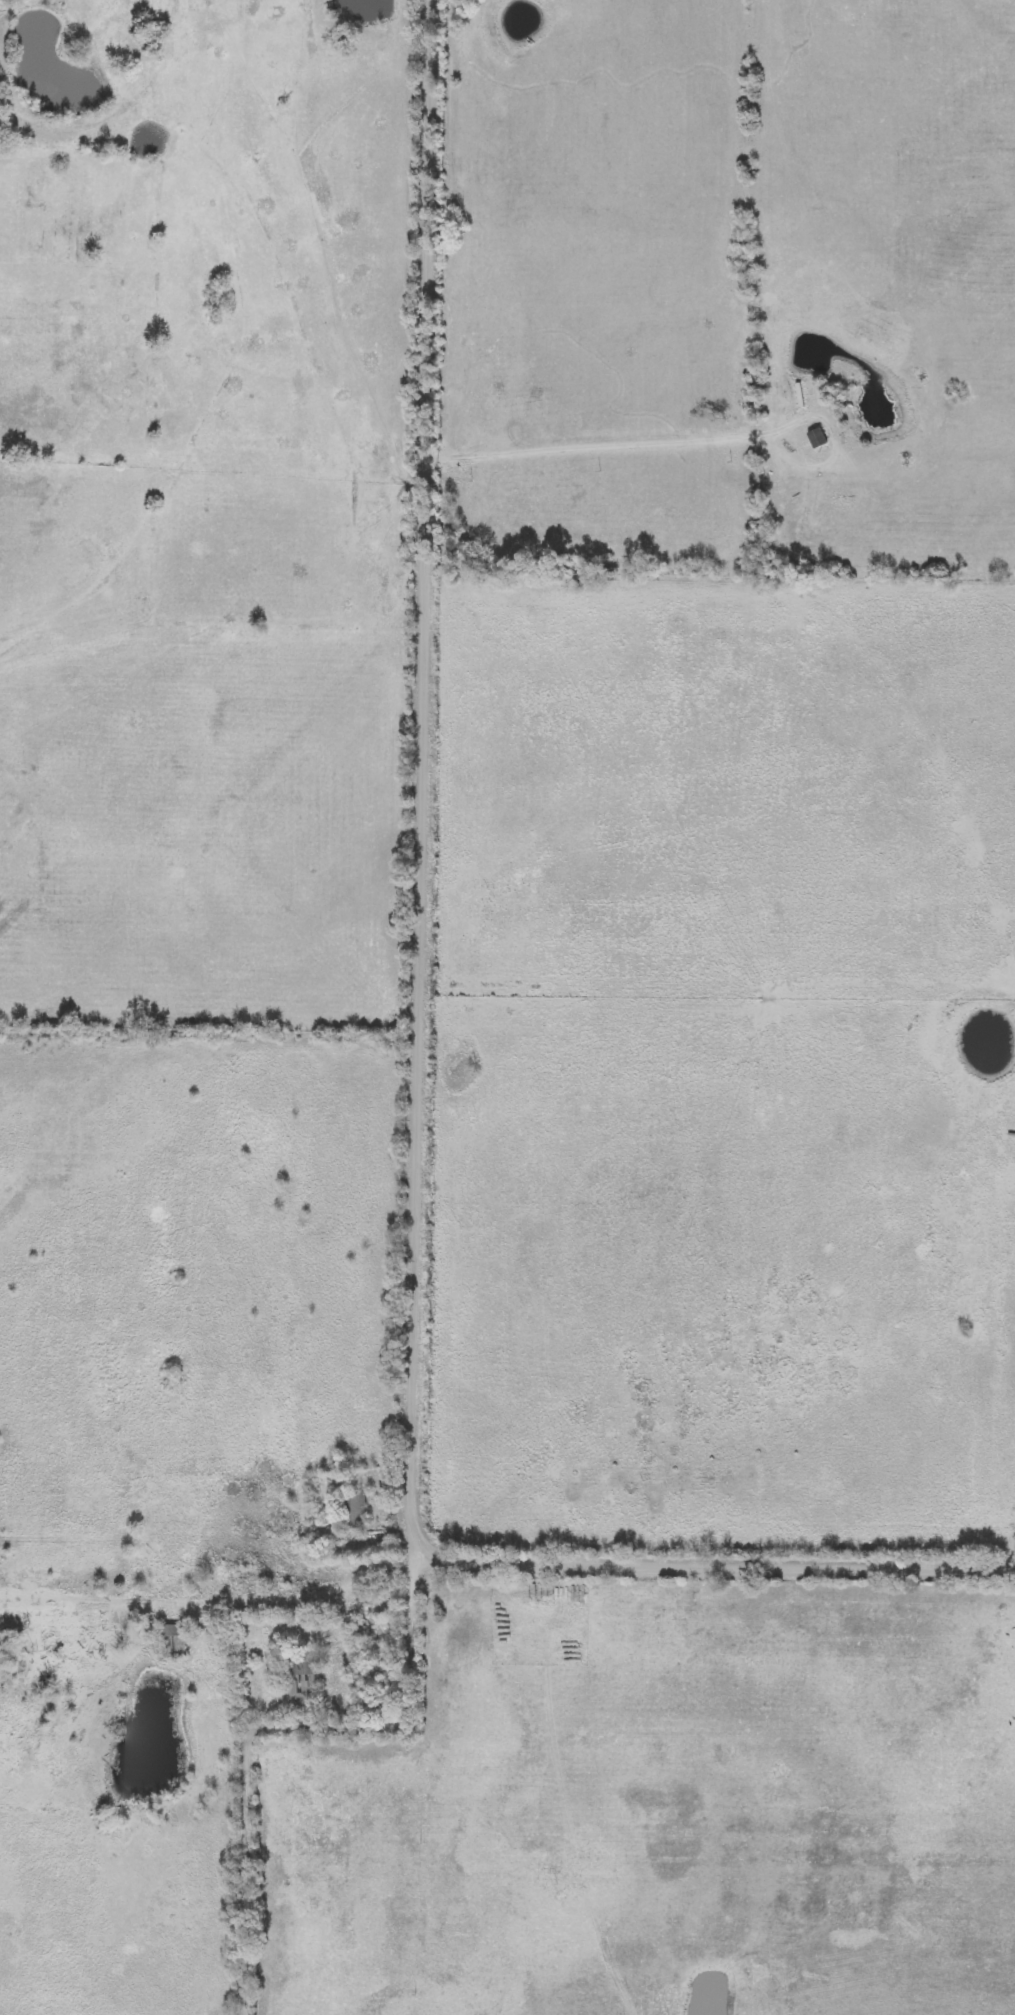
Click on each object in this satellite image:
road: (634, 446)
road: (425, 779)
building: (352, 1511)
road: (717, 1567)
road: (214, 1602)
building: (175, 1642)
building: (303, 1673)
road: (267, 1725)

